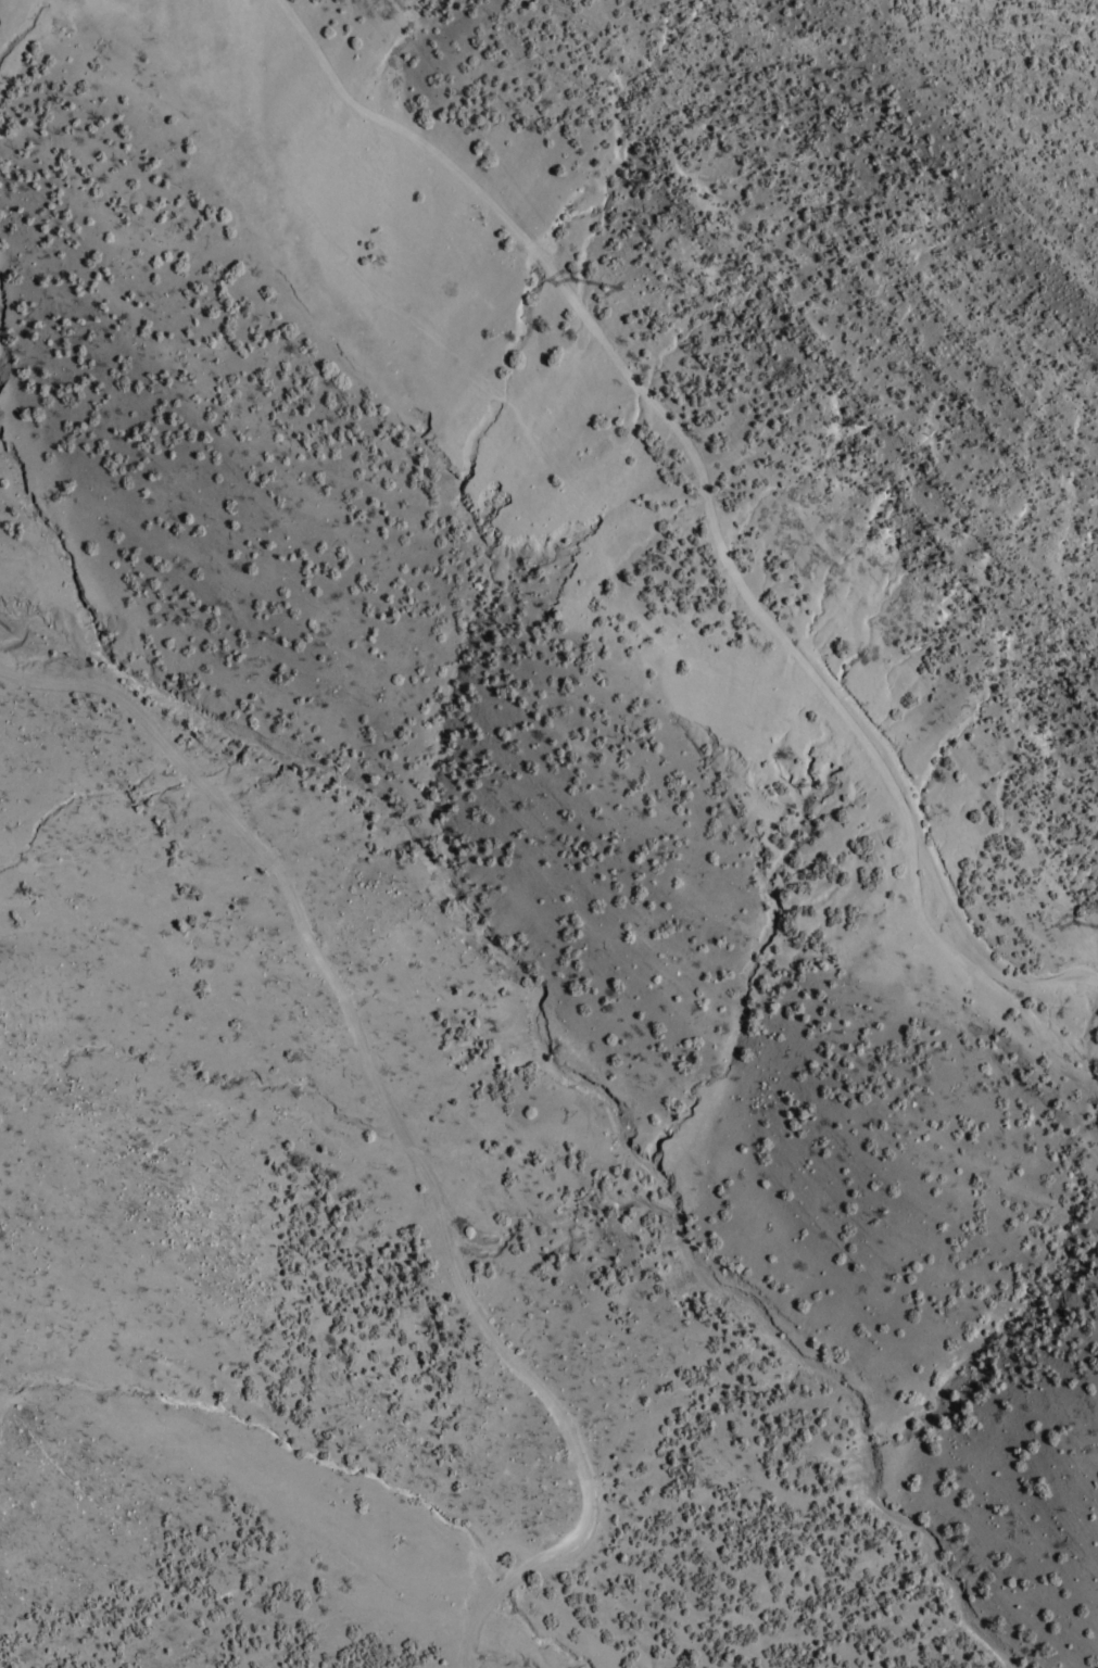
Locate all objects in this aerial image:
power tower: (617, 286)
road: (708, 508)

